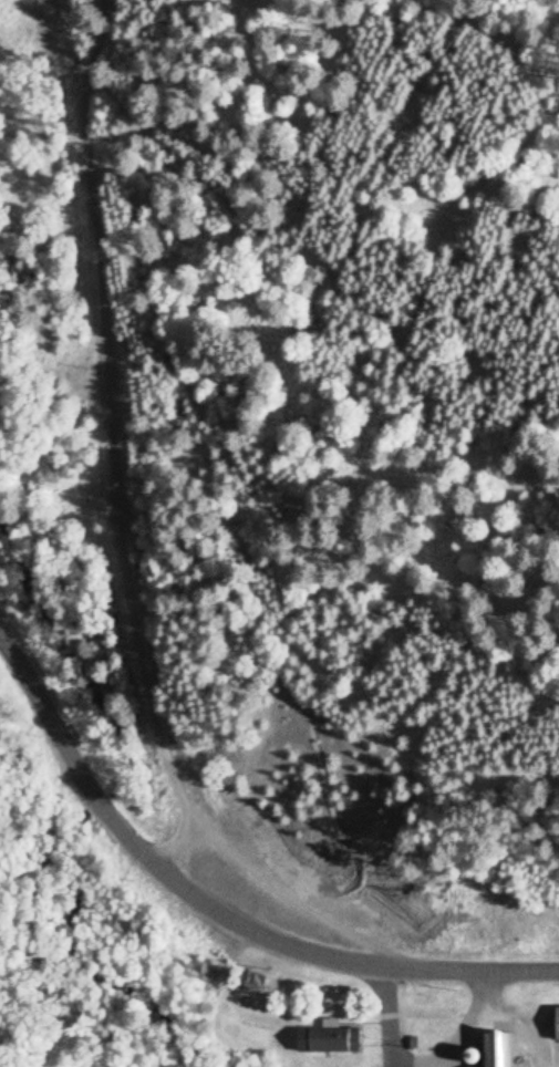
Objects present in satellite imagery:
road: (217, 914)
building: (558, 1026)
building: (330, 1042)
building: (496, 1052)

